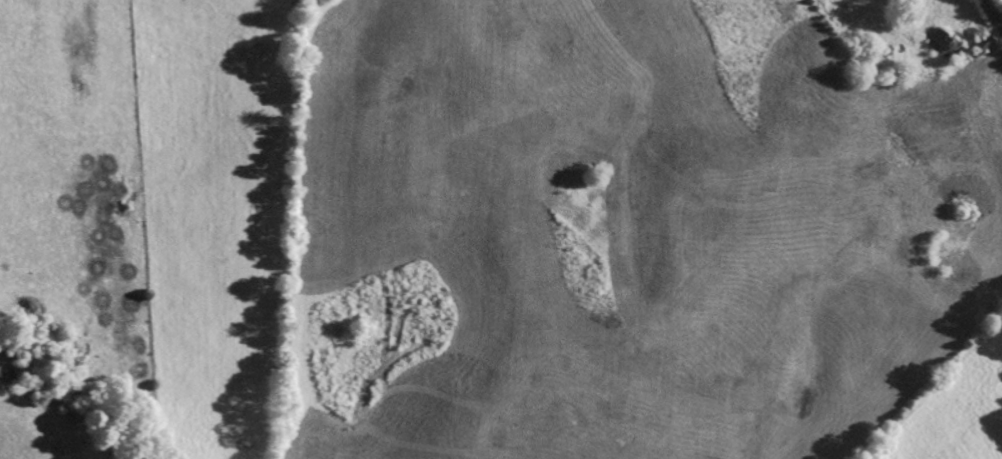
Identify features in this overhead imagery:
road: (992, 14)
building: (977, 45)
building: (938, 47)

